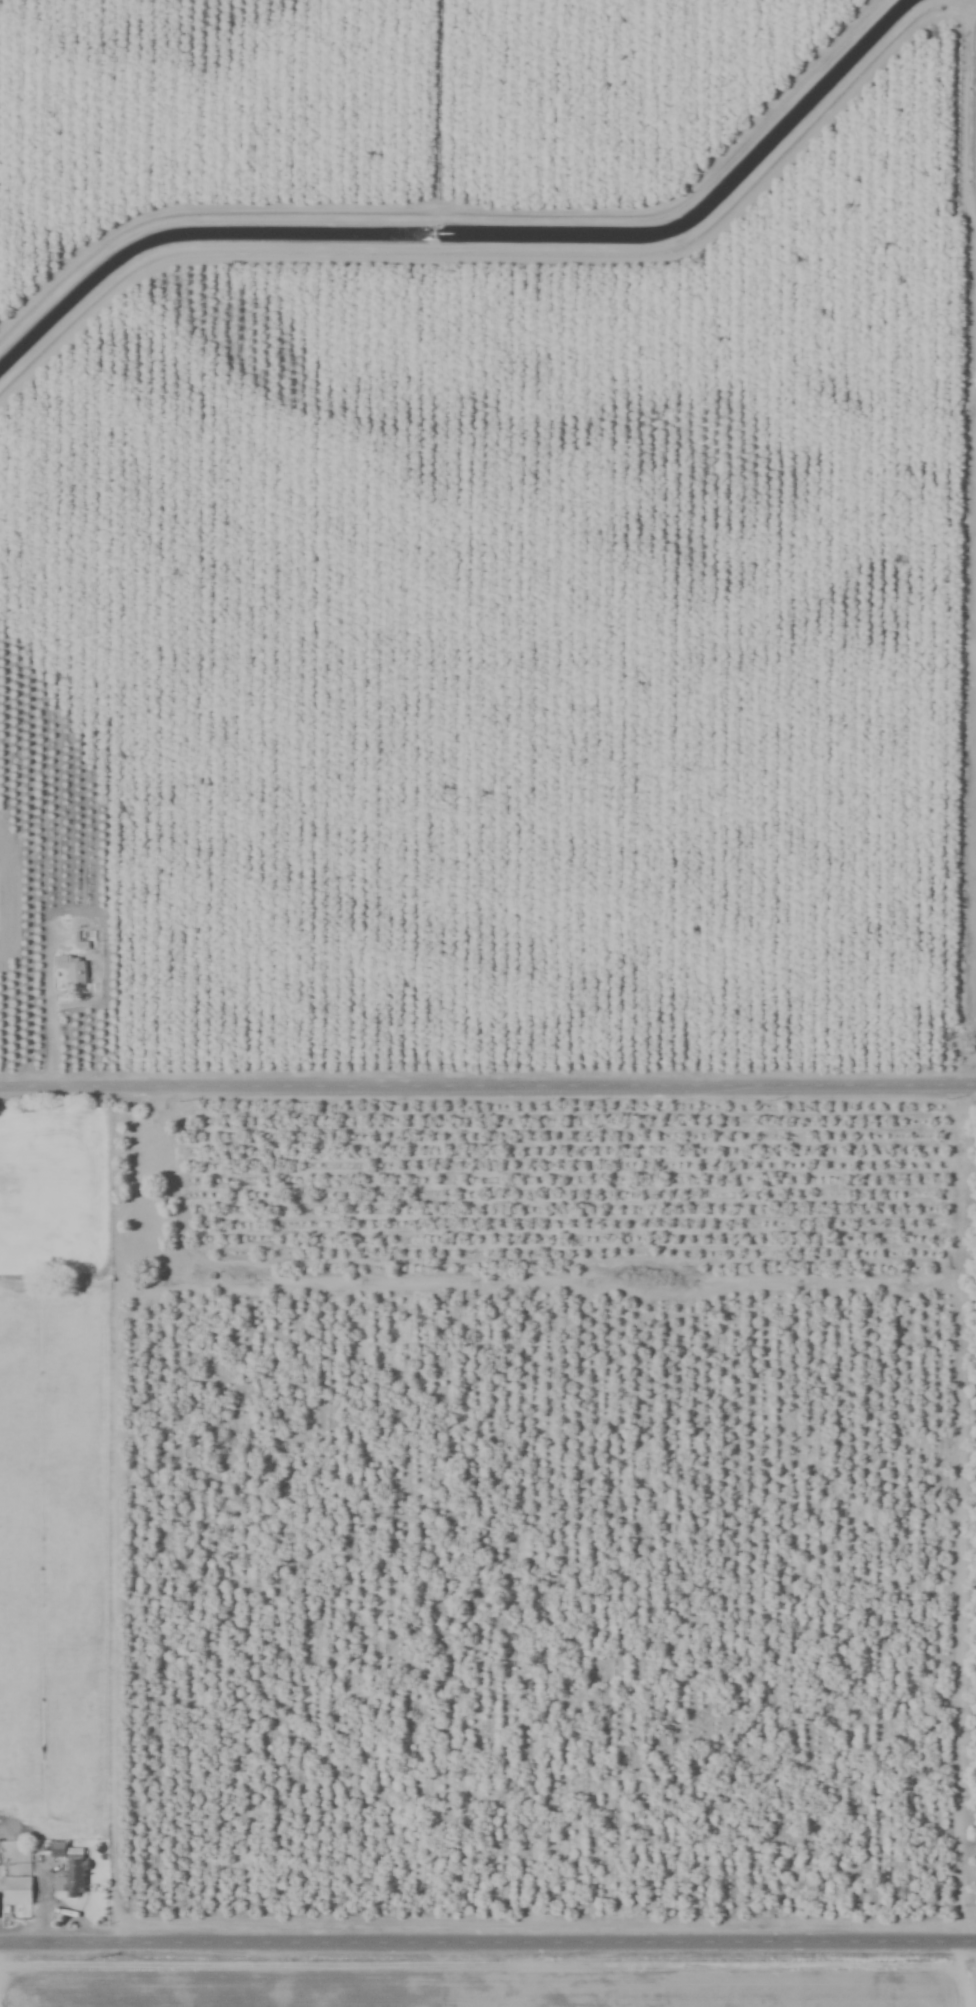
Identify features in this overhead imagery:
building: (54, 824)
building: (63, 872)
road: (47, 955)
building: (72, 969)
road: (488, 1082)
building: (138, 1244)
building: (70, 1869)
building: (16, 1891)
road: (488, 1938)

